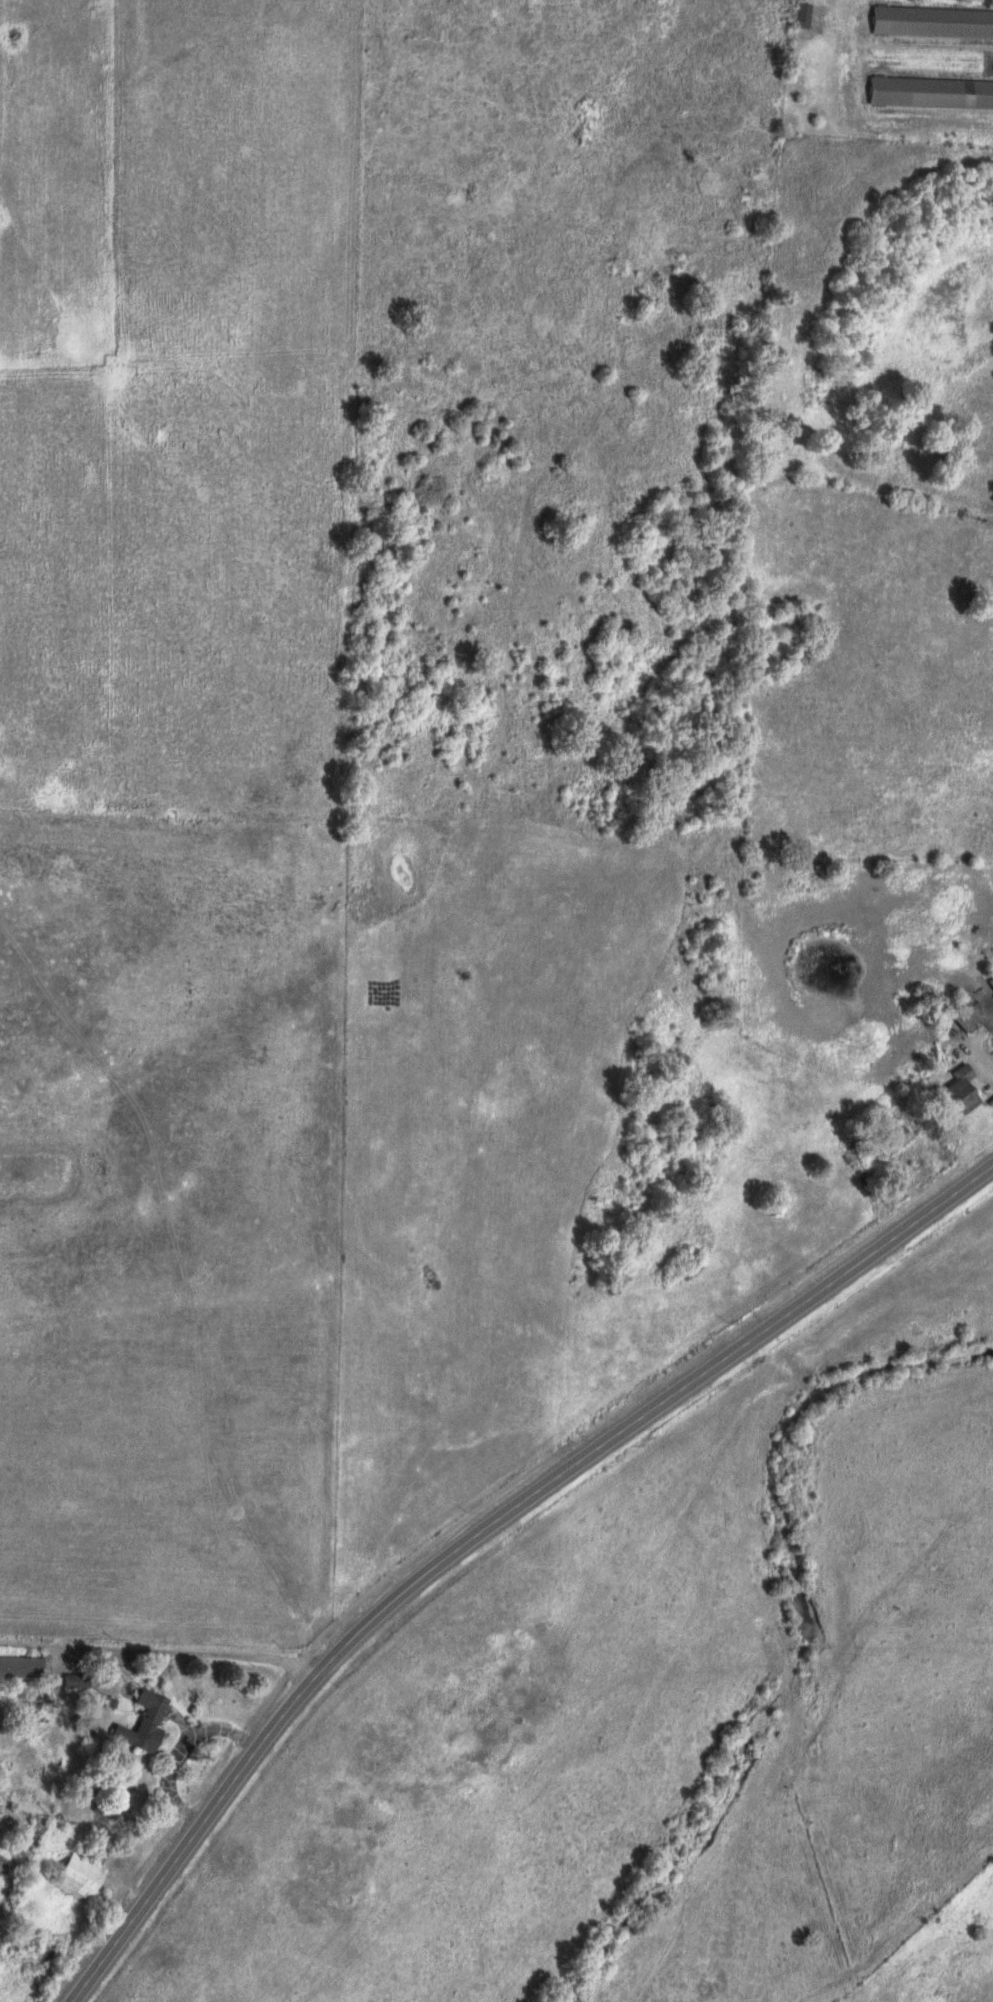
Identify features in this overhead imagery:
building: (800, 13)
building: (931, 21)
building: (930, 91)
building: (963, 1016)
road: (977, 1048)
building: (957, 1088)
building: (894, 1136)
road: (480, 1524)
road: (163, 1640)
building: (17, 1665)
building: (71, 1679)
building: (138, 1720)
building: (74, 1874)

